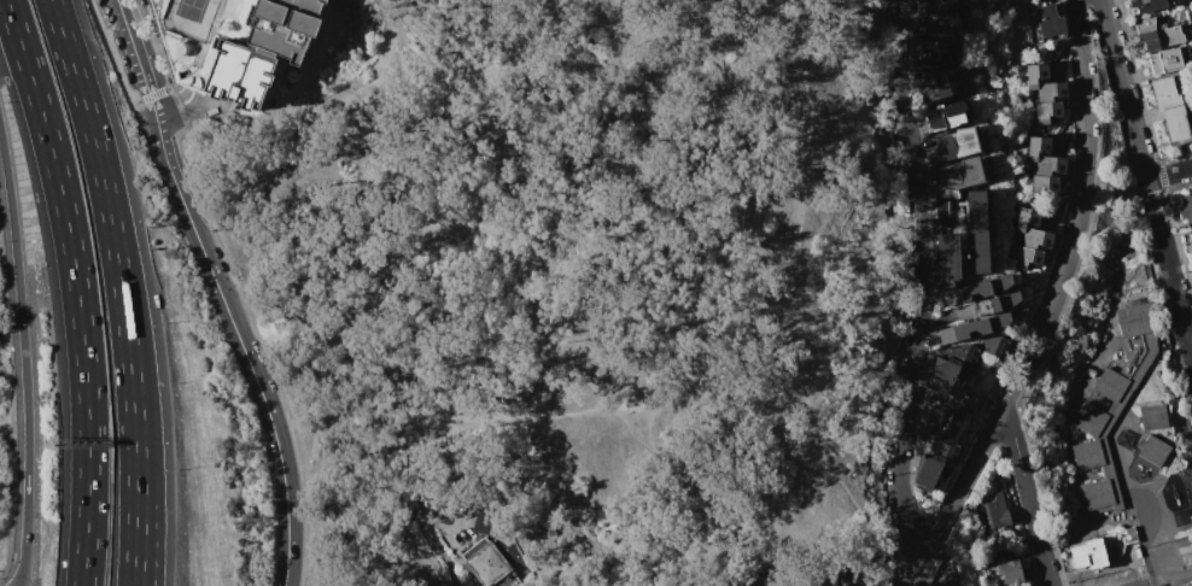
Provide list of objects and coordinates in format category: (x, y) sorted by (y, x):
building: (941, 0)
building: (1033, 0)
building: (1149, 5)
building: (941, 6)
building: (949, 12)
park: (192, 17)
building: (1048, 20)
building: (941, 23)
building: (943, 33)
building: (1158, 34)
building: (937, 42)
building: (240, 46)
road: (135, 47)
building: (942, 49)
building: (1165, 60)
road: (116, 61)
building: (935, 61)
building: (1035, 75)
building: (933, 86)
building: (1051, 90)
road: (1126, 98)
building: (1191, 98)
road: (340, 100)
building: (1046, 111)
building: (1170, 111)
road: (195, 116)
building: (942, 116)
park: (828, 143)
building: (956, 143)
building: (1036, 147)
building: (1048, 165)
road: (1168, 172)
building: (962, 174)
building: (1041, 184)
building: (1186, 207)
building: (943, 215)
building: (1026, 219)
road: (483, 225)
building: (978, 232)
building: (1191, 235)
building: (1036, 239)
building: (947, 257)
building: (1026, 257)
road: (1171, 276)
road: (918, 280)
road: (76, 288)
road: (121, 288)
building: (974, 289)
road: (795, 297)
building: (1005, 300)
road: (1050, 304)
road: (243, 321)
building: (970, 328)
building: (1116, 330)
road: (238, 336)
building: (1102, 336)
building: (997, 346)
road: (24, 357)
building: (957, 361)
road: (304, 362)
building: (1122, 369)
building: (1091, 373)
road: (706, 393)
building: (946, 400)
road: (548, 416)
building: (1153, 417)
building: (1153, 451)
building: (1087, 455)
building: (936, 457)
road: (1024, 477)
building: (1098, 494)
road: (140, 497)
road: (732, 503)
building: (994, 510)
building: (1129, 535)
road: (434, 540)
building: (1007, 551)
building: (1087, 553)
building: (490, 564)
road: (1048, 568)
road: (21, 572)
building: (1010, 573)
building: (1176, 575)
building: (946, 582)
building: (714, 584)
building: (738, 584)
building: (778, 585)

